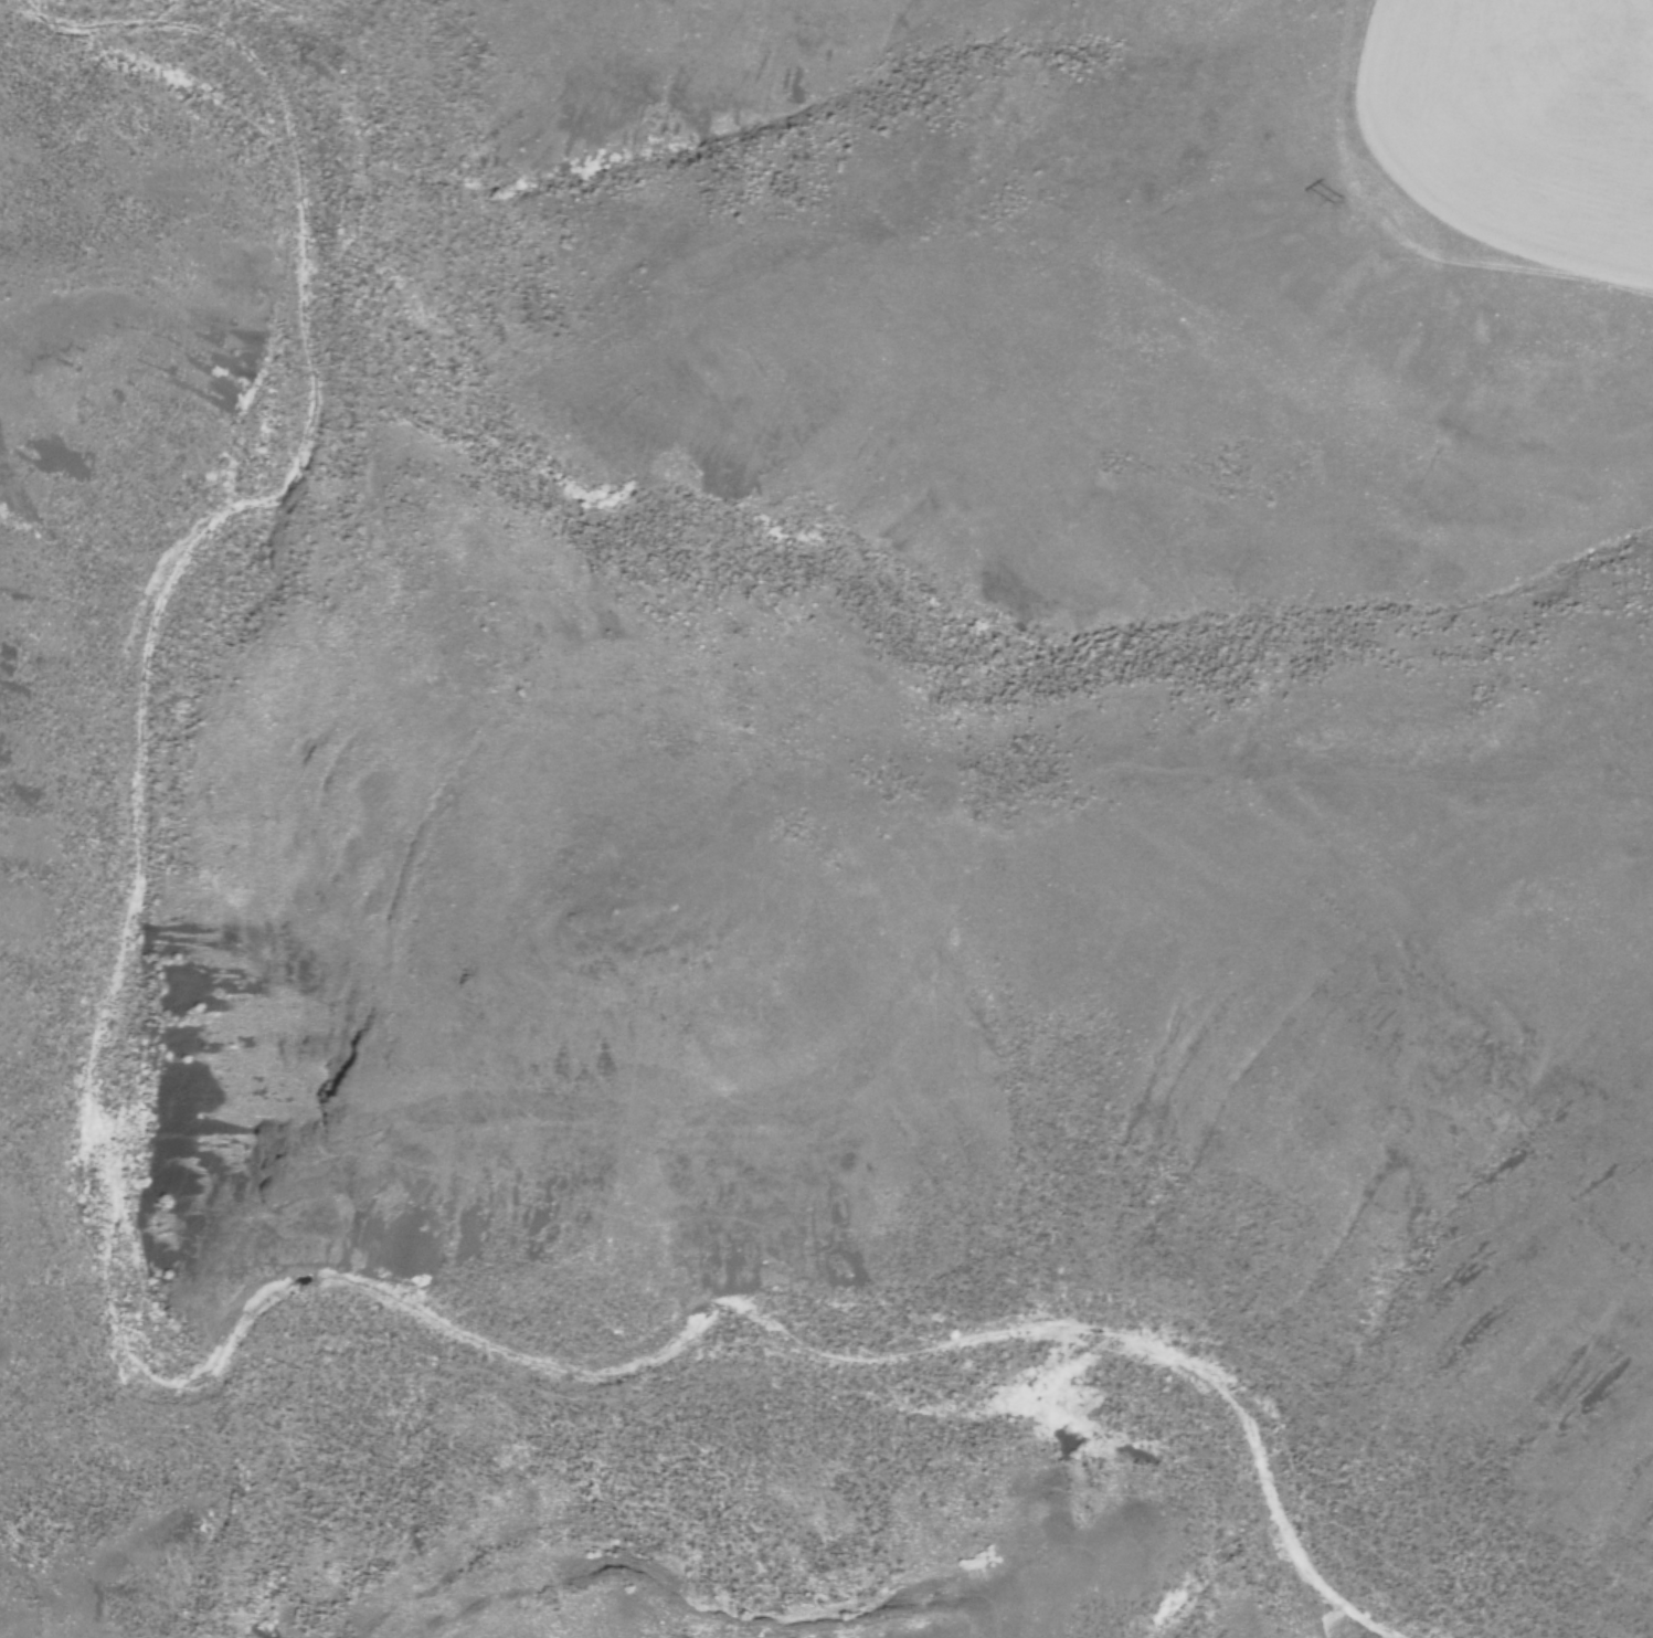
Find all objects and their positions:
power tower: (1338, 199)

